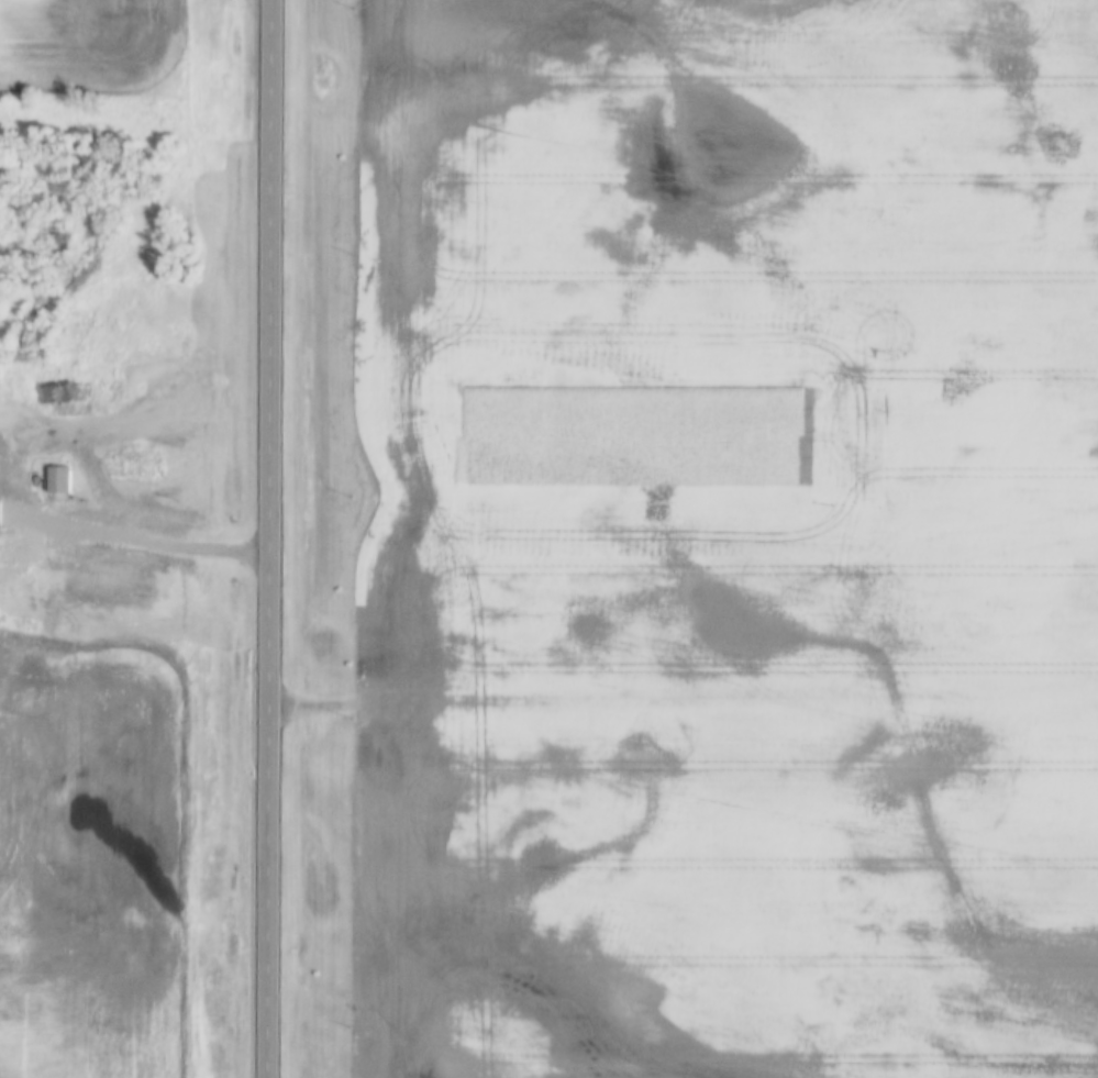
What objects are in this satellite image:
building: (111, 390)
building: (133, 465)
building: (58, 480)
road: (132, 537)
road: (276, 538)

